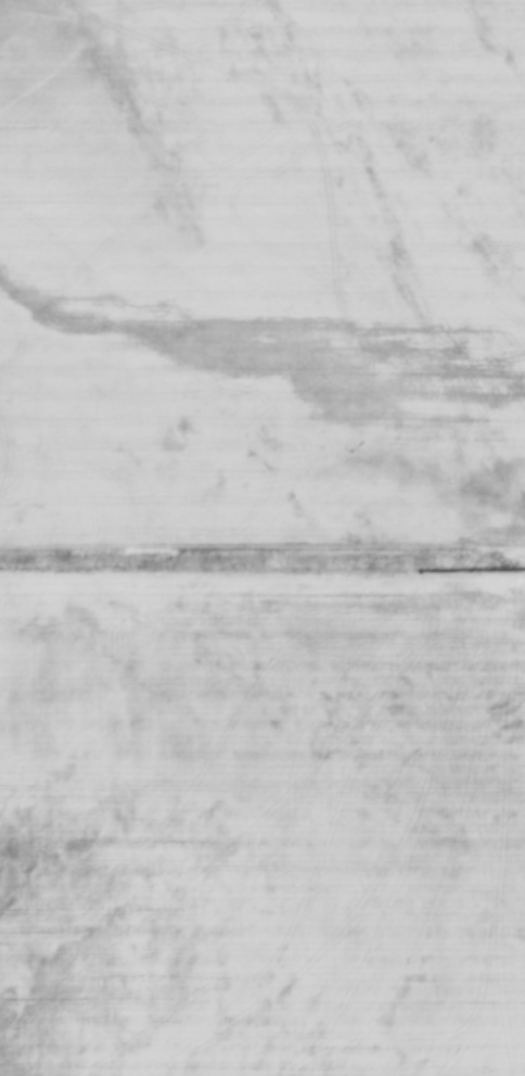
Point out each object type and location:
road: (262, 560)

